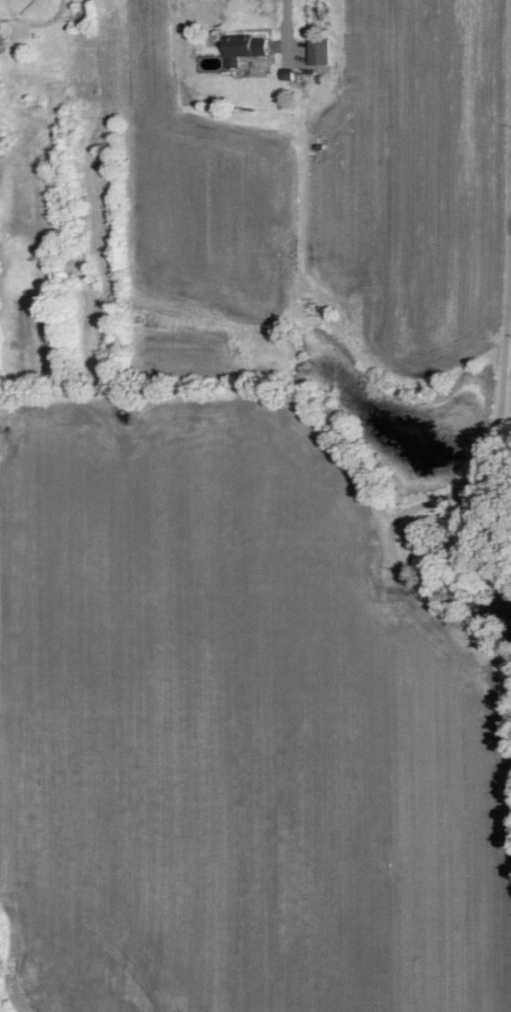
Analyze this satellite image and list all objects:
road: (287, 31)
building: (245, 49)
building: (320, 52)
road: (507, 355)

